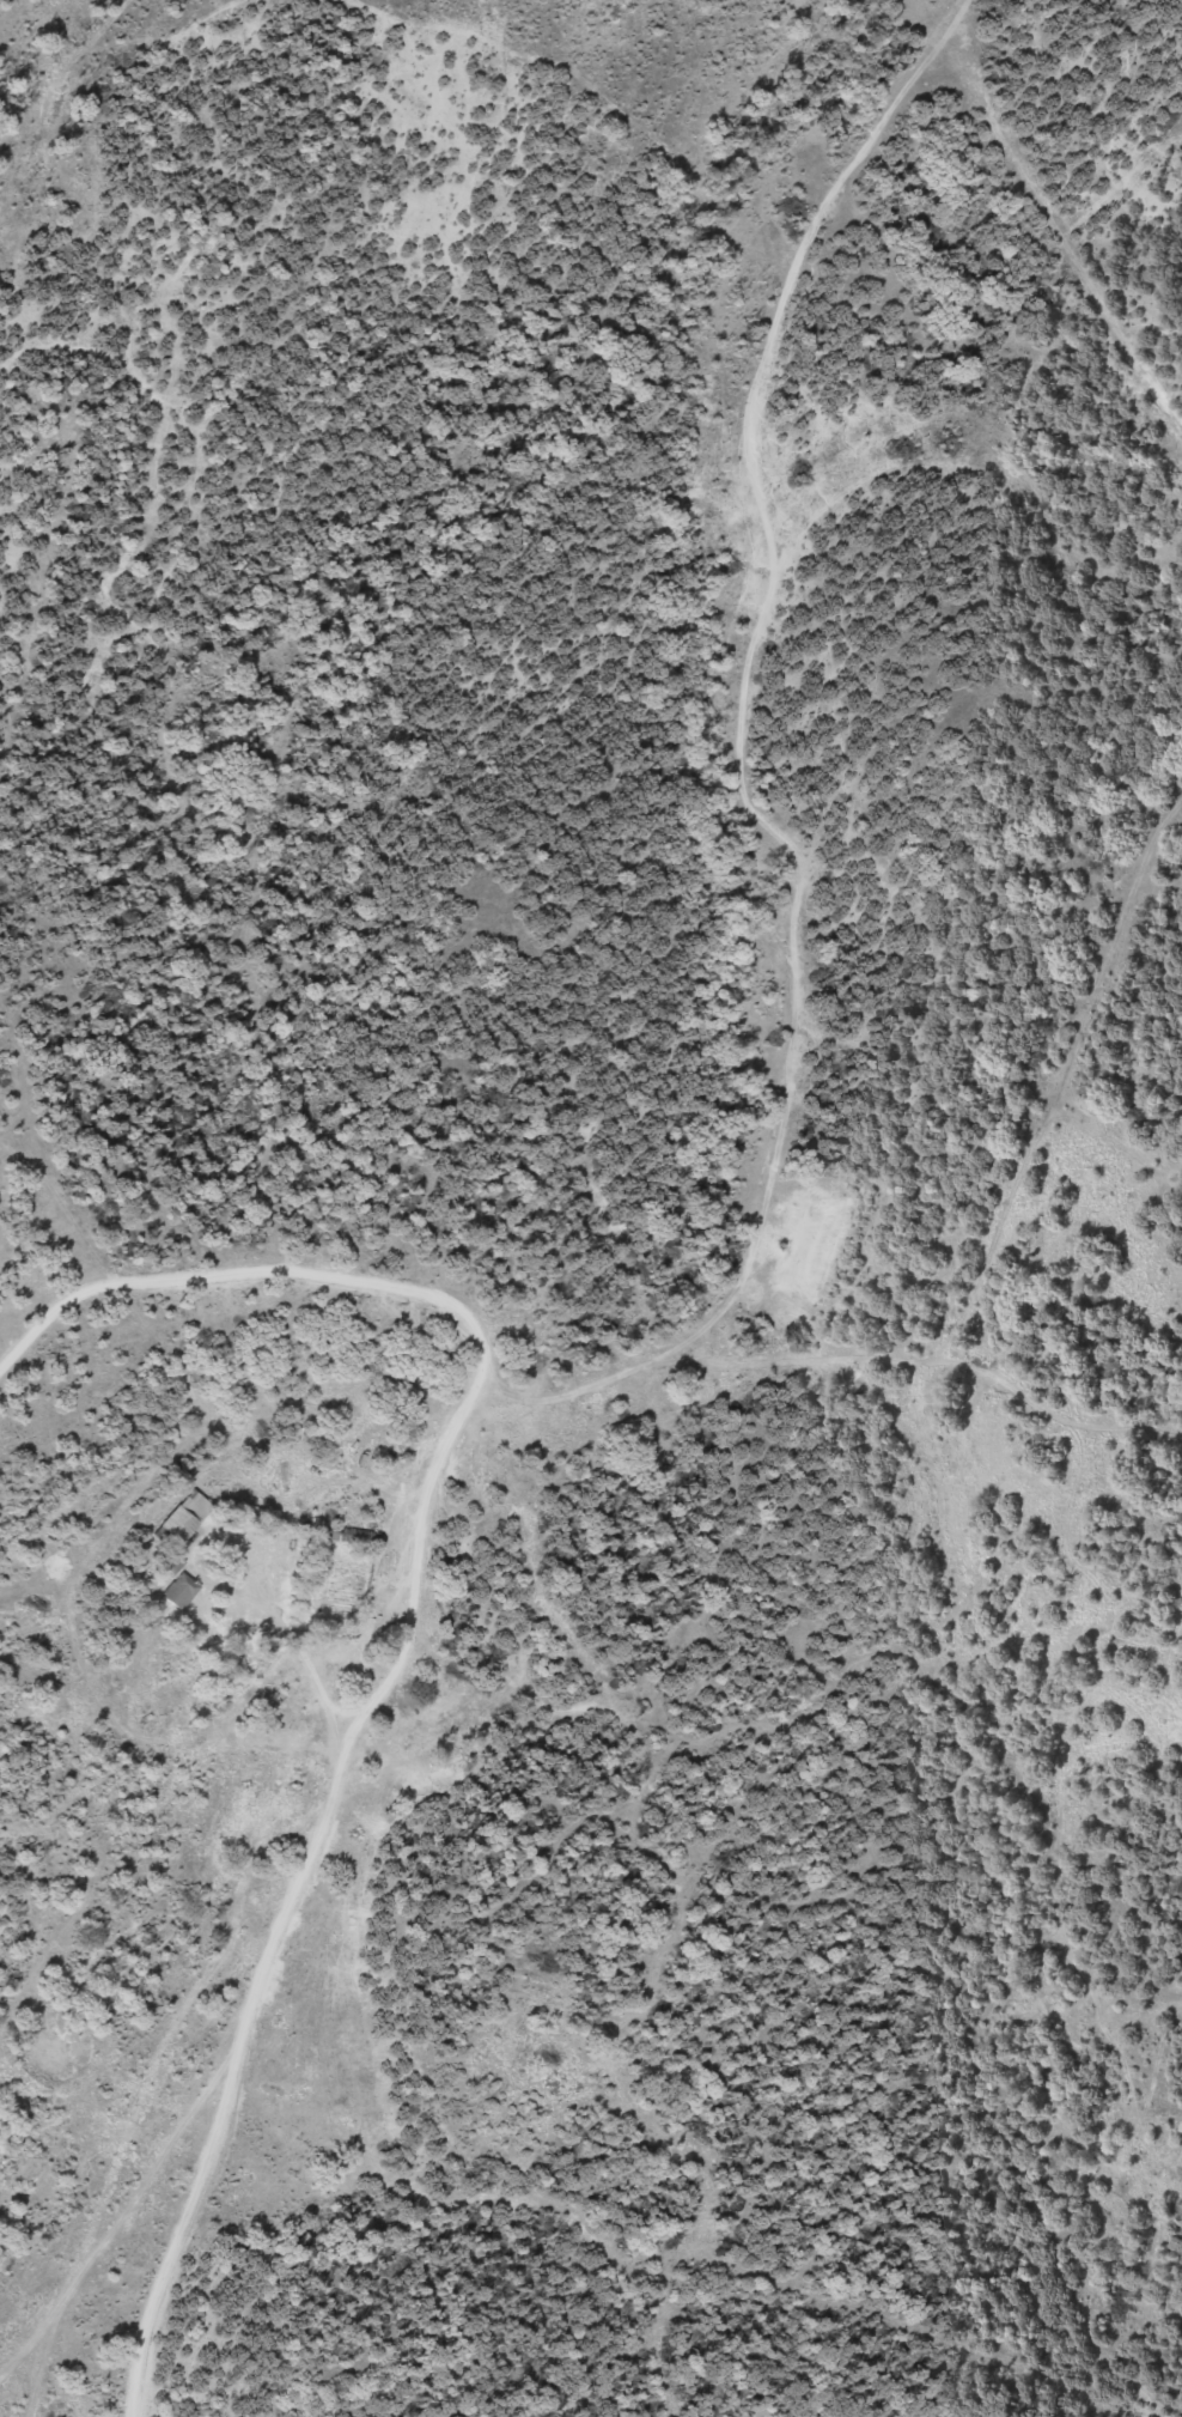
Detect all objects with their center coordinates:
road: (788, 792)
road: (275, 1269)
building: (185, 1514)
building: (360, 1535)
building: (179, 1589)
road: (291, 1908)

